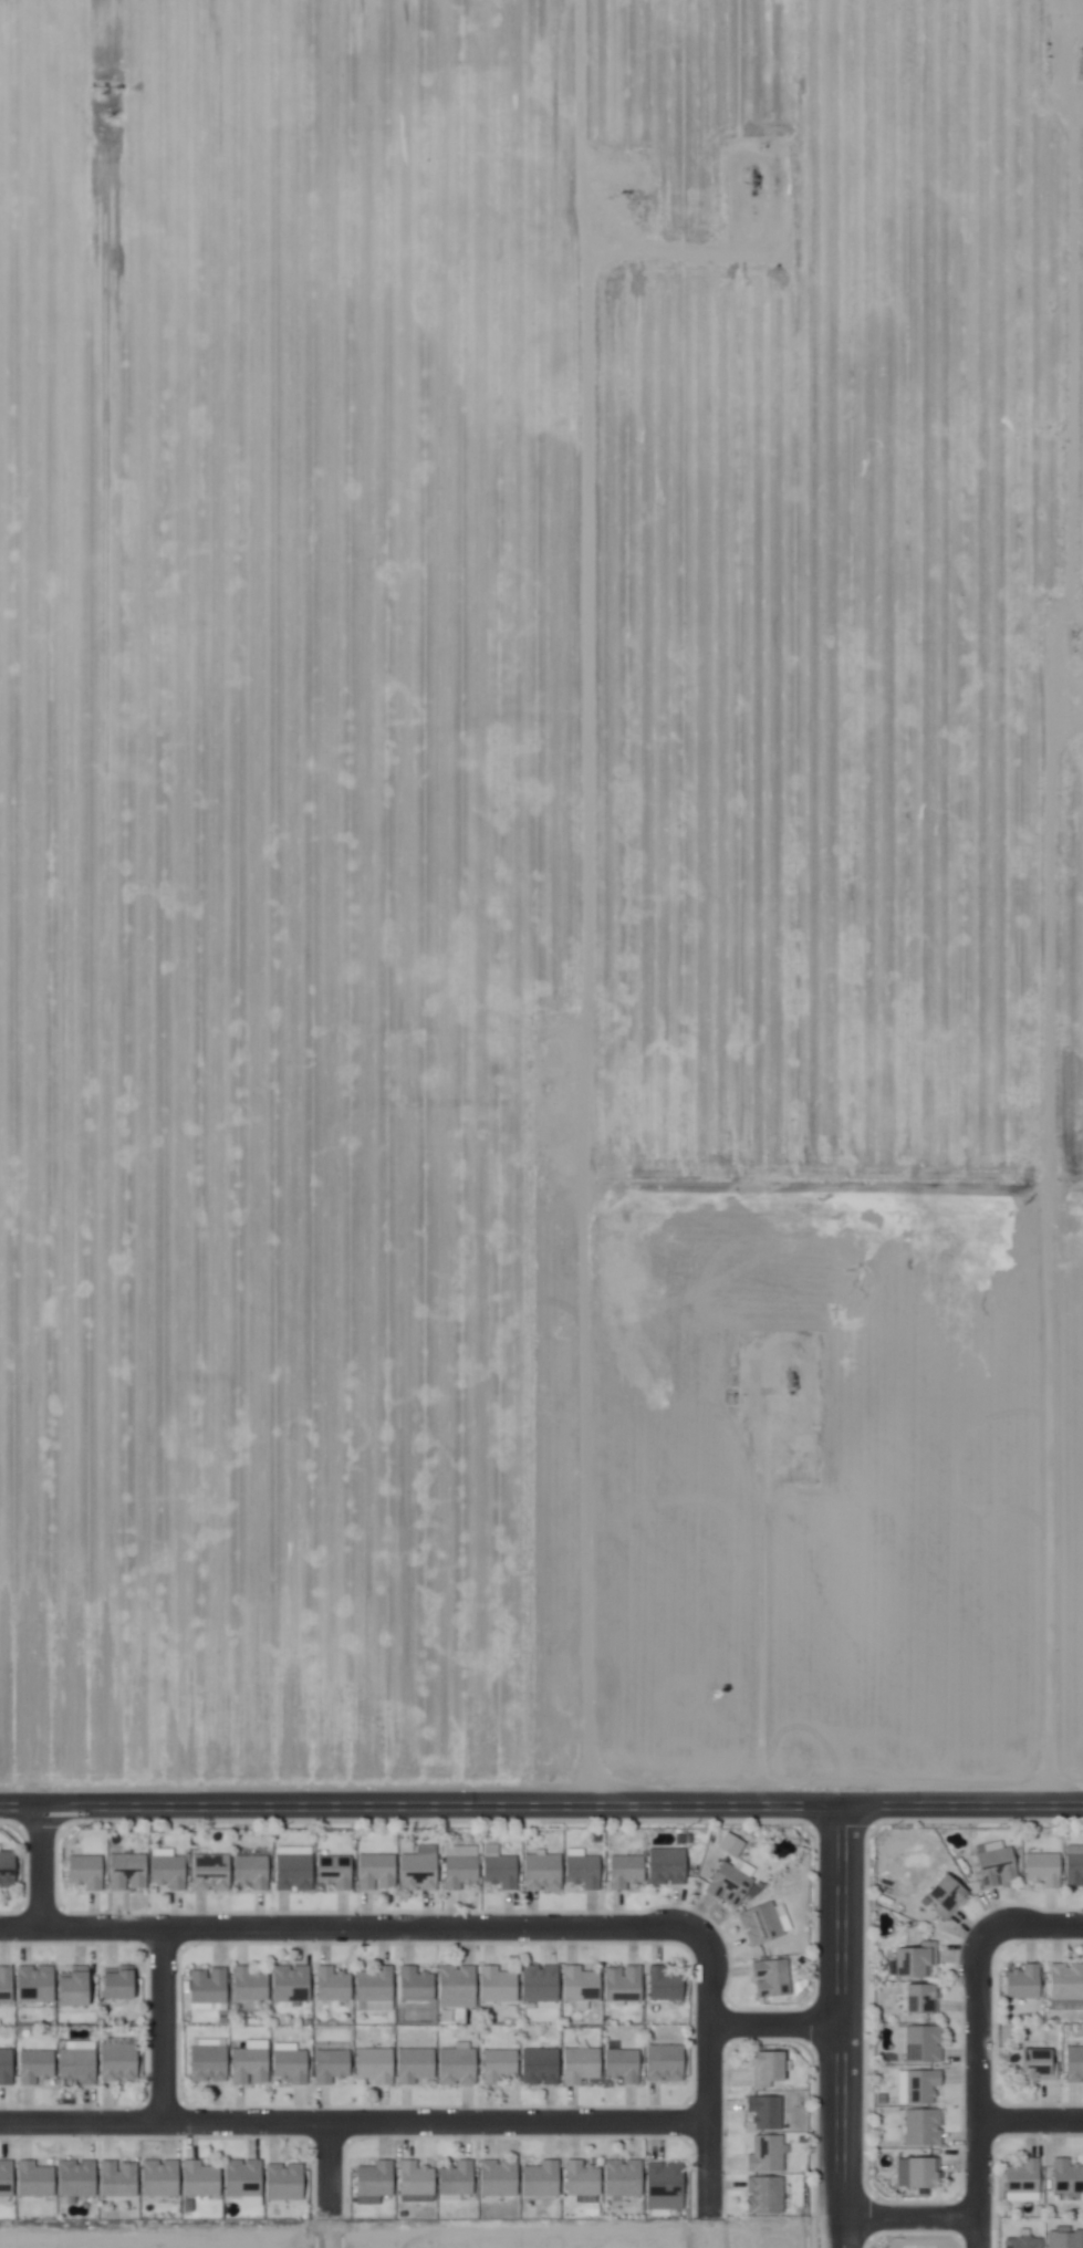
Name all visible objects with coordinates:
petroleum well: (1082, 58)
petroleum well: (752, 179)
petroleum well: (622, 191)
road: (541, 1797)
road: (43, 1861)
building: (997, 1864)
building: (464, 1865)
building: (668, 1865)
building: (9, 1869)
building: (424, 1869)
building: (1043, 1869)
building: (1074, 1869)
building: (174, 1870)
building: (256, 1870)
building: (504, 1870)
building: (589, 1870)
building: (629, 1870)
building: (90, 1871)
building: (132, 1871)
building: (337, 1871)
building: (377, 1871)
building: (546, 1871)
building: (215, 1872)
building: (298, 1873)
building: (728, 1884)
building: (947, 1896)
building: (758, 1924)
road: (1028, 1924)
road: (353, 1925)
building: (912, 1960)
building: (771, 1978)
building: (39, 1982)
building: (119, 1982)
building: (293, 1982)
building: (335, 1982)
building: (459, 1982)
building: (666, 1982)
building: (1023, 1982)
building: (8, 1984)
building: (252, 1984)
building: (377, 1984)
building: (418, 1984)
building: (500, 1984)
building: (544, 1984)
building: (583, 1984)
building: (627, 1984)
building: (210, 1985)
building: (80, 1986)
building: (1066, 1986)
building: (921, 1999)
road: (160, 2020)
road: (843, 2022)
road: (774, 2025)
building: (924, 2043)
building: (123, 2062)
building: (214, 2062)
building: (621, 2062)
building: (663, 2062)
building: (335, 2064)
building: (373, 2064)
building: (413, 2064)
building: (456, 2064)
building: (497, 2064)
building: (579, 2064)
building: (1075, 2064)
building: (8, 2065)
building: (38, 2065)
building: (252, 2065)
building: (294, 2065)
building: (539, 2065)
building: (81, 2067)
building: (1037, 2067)
building: (767, 2068)
building: (921, 2085)
road: (707, 2086)
road: (982, 2098)
building: (763, 2112)
road: (353, 2116)
road: (1032, 2120)
building: (923, 2126)
building: (764, 2153)
building: (924, 2174)
building: (1023, 2176)
building: (1066, 2176)
building: (8, 2177)
building: (497, 2177)
building: (621, 2177)
building: (39, 2178)
building: (81, 2178)
building: (165, 2178)
building: (205, 2178)
building: (248, 2178)
building: (378, 2178)
building: (455, 2178)
building: (539, 2178)
building: (580, 2178)
building: (123, 2179)
building: (289, 2181)
road: (330, 2182)
building: (414, 2182)
building: (663, 2185)
building: (762, 2195)
road: (912, 2211)
building: (1063, 2239)
building: (1020, 2241)

